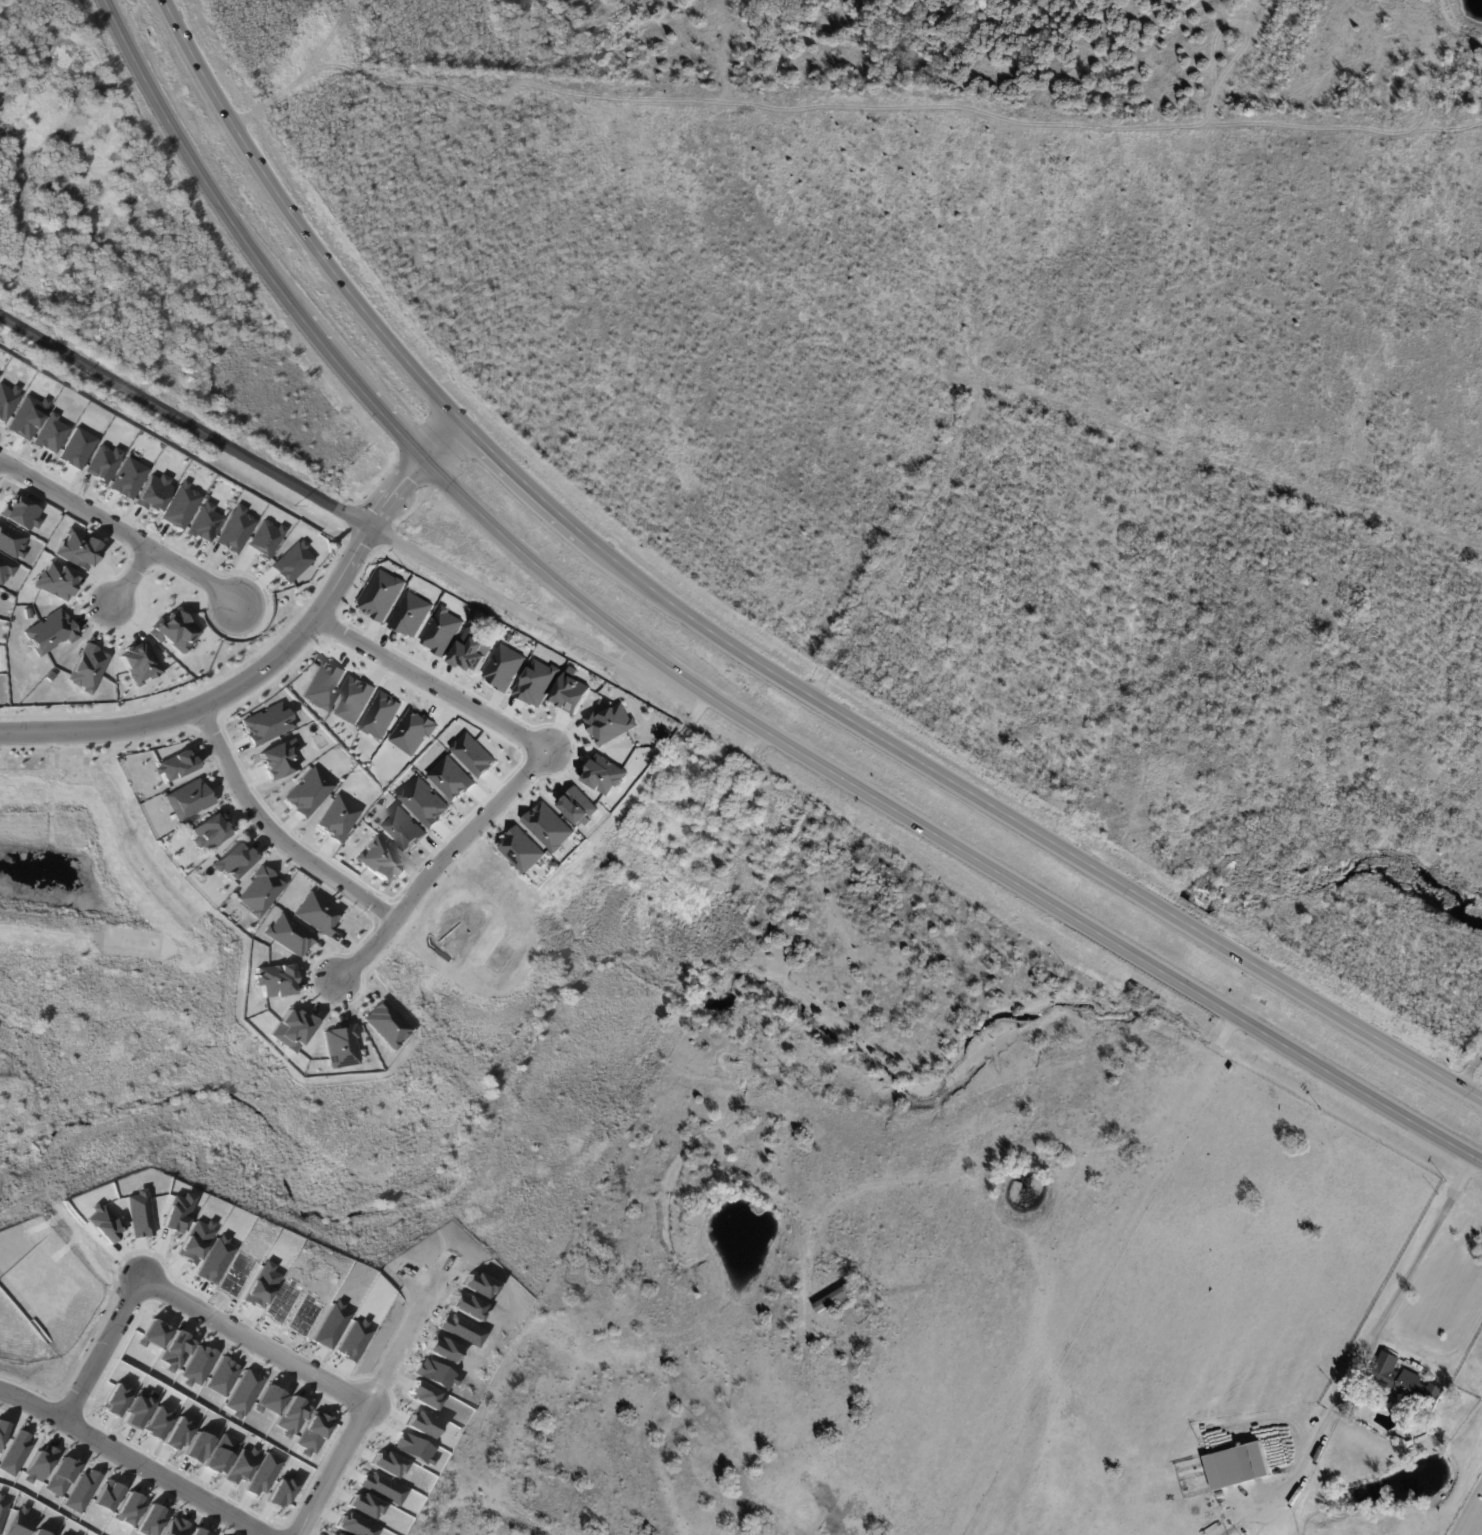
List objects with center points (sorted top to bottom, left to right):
road: (188, 161)
road: (296, 224)
road: (356, 387)
building: (8, 400)
building: (28, 416)
building: (51, 432)
road: (171, 446)
building: (77, 448)
building: (104, 462)
building: (129, 477)
road: (295, 486)
road: (526, 486)
building: (155, 493)
building: (181, 505)
building: (19, 513)
building: (205, 522)
building: (235, 529)
road: (118, 530)
building: (267, 538)
building: (11, 541)
building: (78, 549)
building: (293, 561)
building: (5, 569)
road: (130, 577)
building: (57, 580)
building: (381, 594)
building: (26, 613)
building: (409, 614)
building: (175, 629)
building: (50, 631)
building: (441, 631)
building: (470, 651)
road: (279, 657)
building: (140, 662)
building: (88, 667)
building: (503, 667)
building: (49, 676)
building: (535, 682)
building: (321, 683)
road: (432, 685)
building: (569, 691)
building: (352, 700)
building: (380, 714)
building: (264, 723)
building: (609, 723)
building: (412, 731)
building: (664, 735)
building: (472, 755)
building: (276, 758)
building: (172, 764)
building: (603, 775)
building: (450, 778)
building: (306, 791)
building: (187, 799)
building: (422, 802)
building: (576, 806)
building: (336, 817)
building: (547, 826)
building: (400, 828)
building: (208, 830)
road: (1031, 831)
road: (274, 832)
road: (935, 835)
building: (737, 836)
building: (521, 850)
building: (377, 858)
building: (231, 860)
road: (437, 864)
building: (257, 890)
building: (314, 912)
building: (287, 934)
building: (271, 980)
building: (383, 1024)
building: (289, 1029)
building: (339, 1046)
park: (409, 1048)
road: (1005, 1155)
building: (179, 1210)
building: (142, 1214)
building: (107, 1223)
building: (197, 1243)
building: (589, 1256)
building: (219, 1259)
building: (240, 1273)
road: (1402, 1282)
building: (482, 1285)
building: (264, 1286)
building: (287, 1299)
building: (839, 1299)
building: (466, 1307)
building: (309, 1313)
building: (335, 1324)
building: (464, 1329)
road: (413, 1333)
building: (155, 1334)
road: (262, 1338)
building: (357, 1338)
road: (109, 1348)
building: (445, 1348)
building: (177, 1349)
building: (857, 1356)
road: (1436, 1358)
building: (199, 1364)
building: (437, 1373)
building: (223, 1376)
building: (1398, 1380)
building: (243, 1392)
building: (1438, 1394)
building: (427, 1395)
building: (271, 1399)
building: (117, 1400)
building: (139, 1411)
building: (292, 1416)
building: (159, 1423)
building: (425, 1424)
building: (2, 1432)
building: (314, 1433)
building: (179, 1435)
building: (199, 1446)
building: (416, 1448)
building: (15, 1452)
building: (223, 1453)
road: (139, 1458)
road: (1301, 1462)
building: (390, 1463)
building: (39, 1465)
building: (242, 1466)
road: (338, 1468)
building: (1239, 1468)
building: (264, 1474)
building: (61, 1477)
building: (385, 1489)
building: (81, 1490)
building: (283, 1490)
building: (107, 1495)
building: (1222, 1496)
building: (368, 1506)
building: (129, 1508)
building: (2, 1510)
building: (151, 1519)
building: (19, 1525)
building: (175, 1526)
building: (358, 1526)
building: (40, 1532)
building: (196, 1532)
building: (337, 1534)

